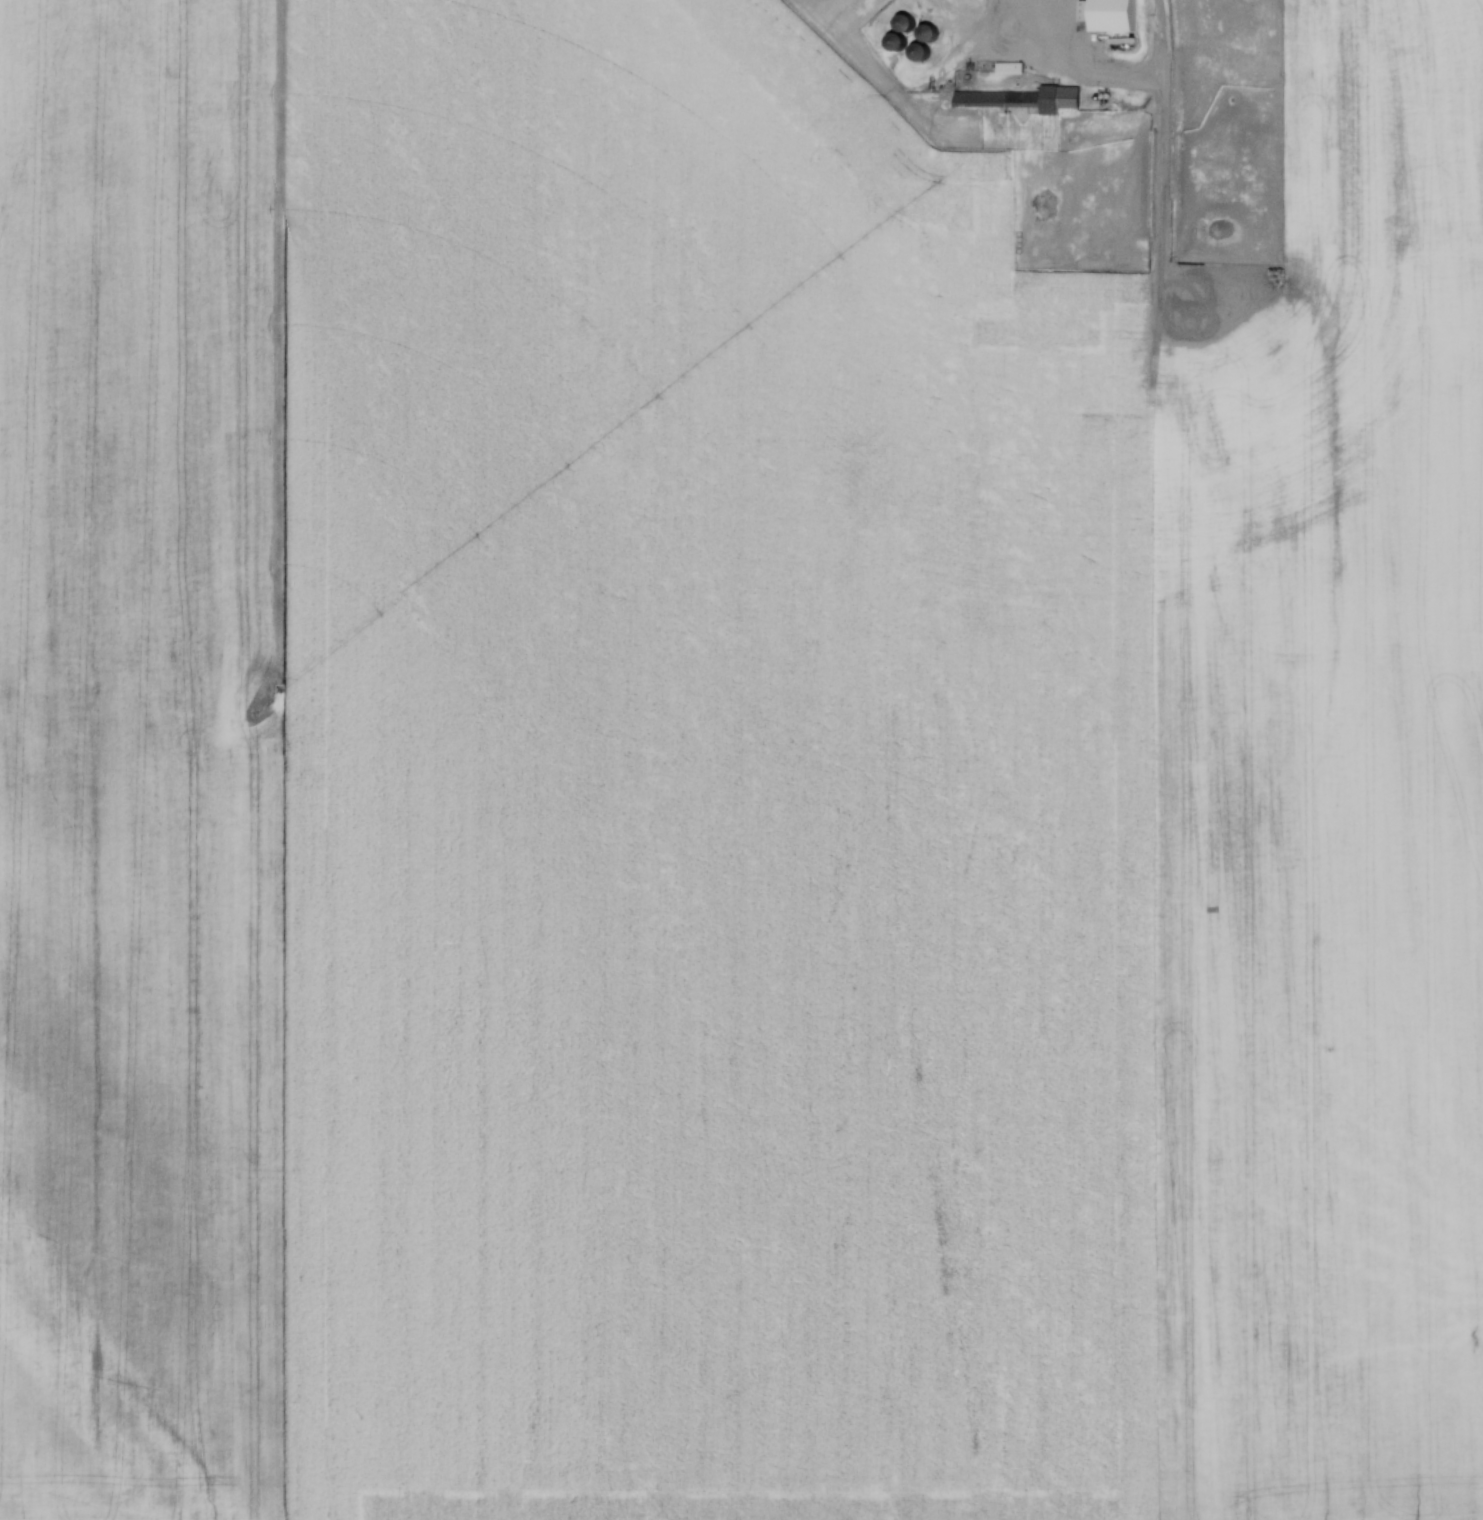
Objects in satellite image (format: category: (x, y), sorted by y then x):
road: (1025, 4)
building: (1107, 15)
road: (979, 19)
road: (1163, 45)
road: (1158, 87)
building: (1019, 99)
building: (1203, 181)

